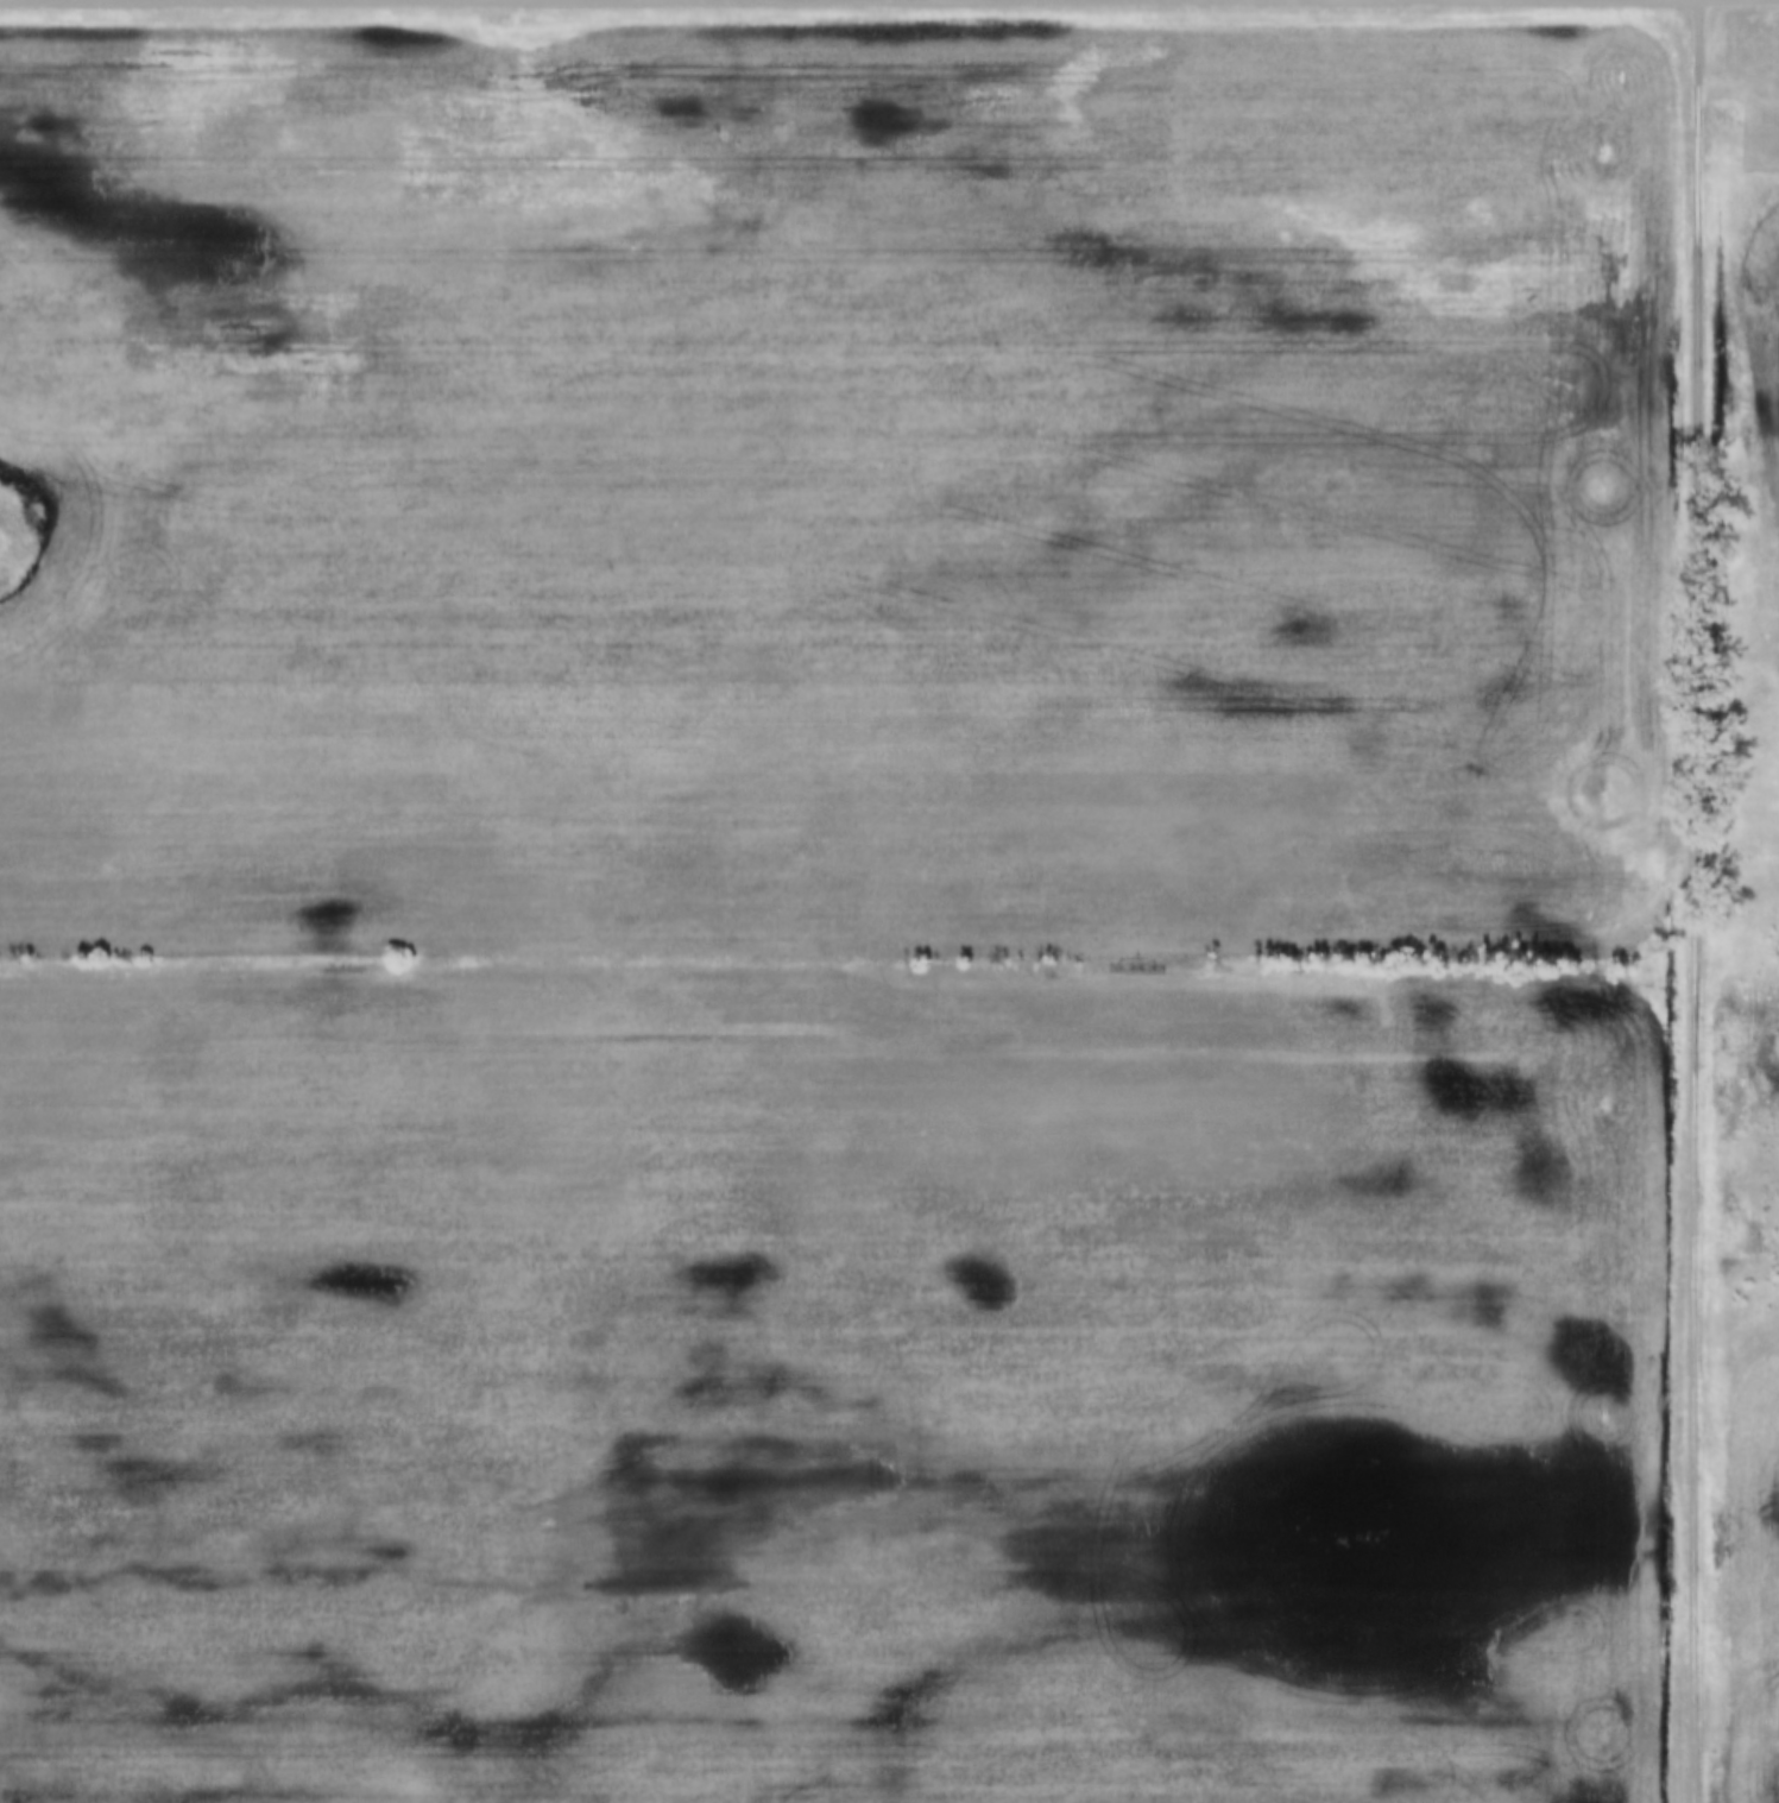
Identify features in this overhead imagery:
road: (1696, 901)

